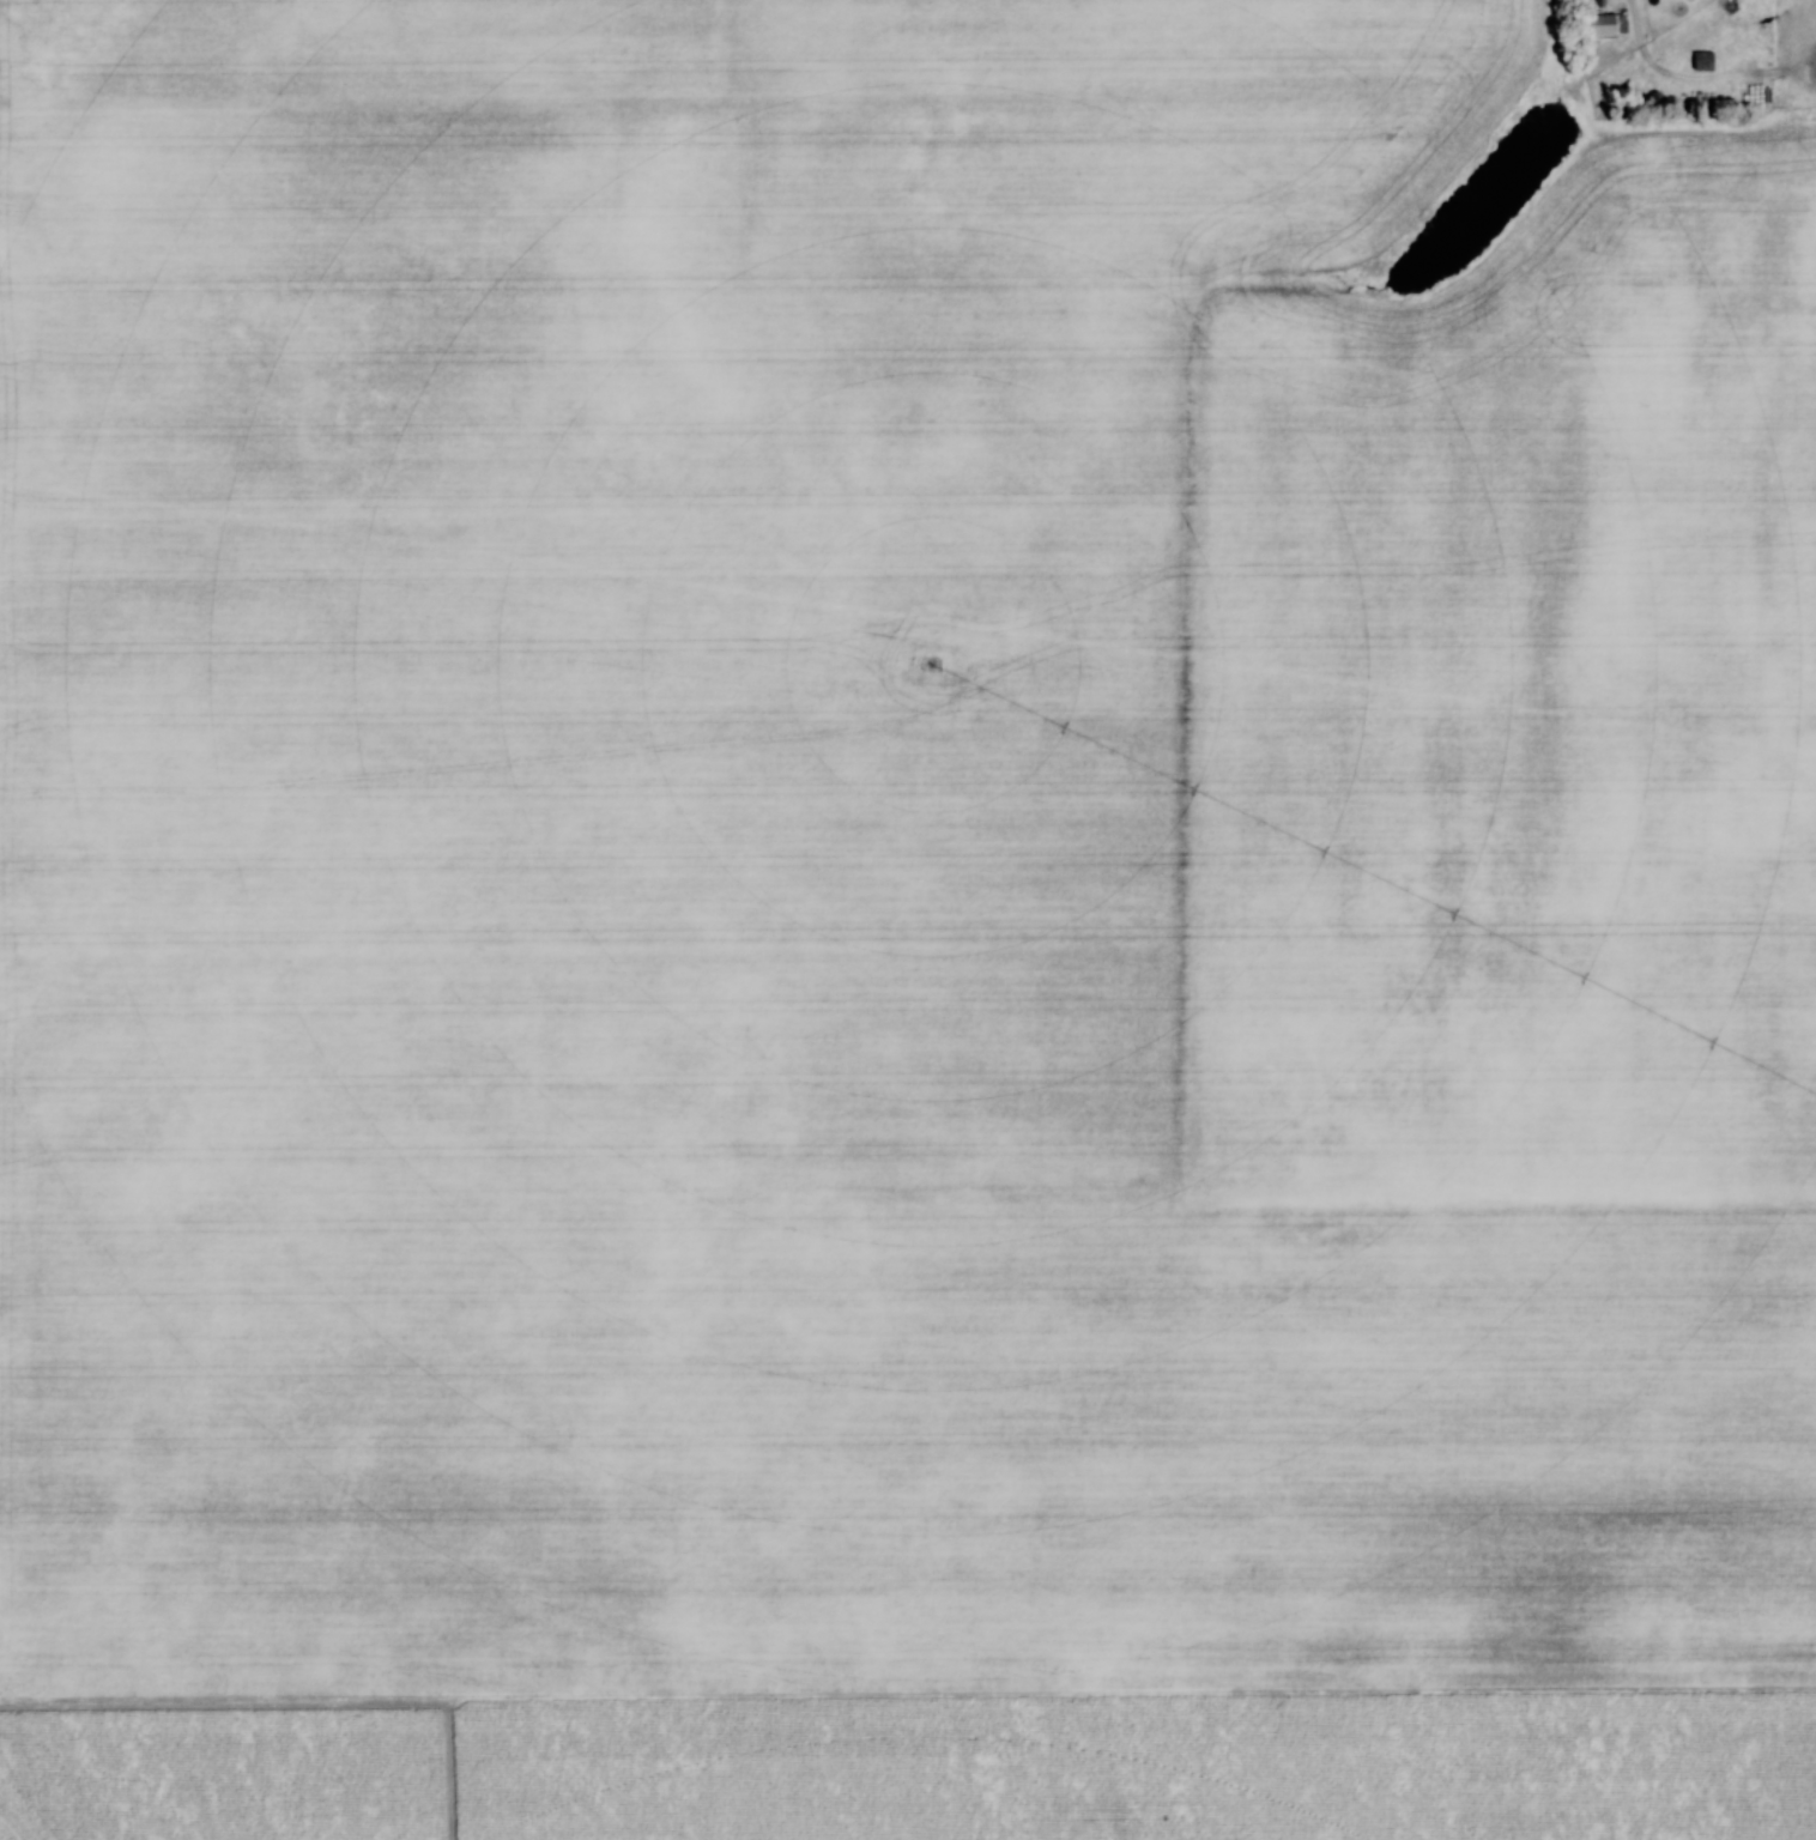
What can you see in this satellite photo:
building: (1610, 24)
building: (1707, 60)
crop: (897, 858)

